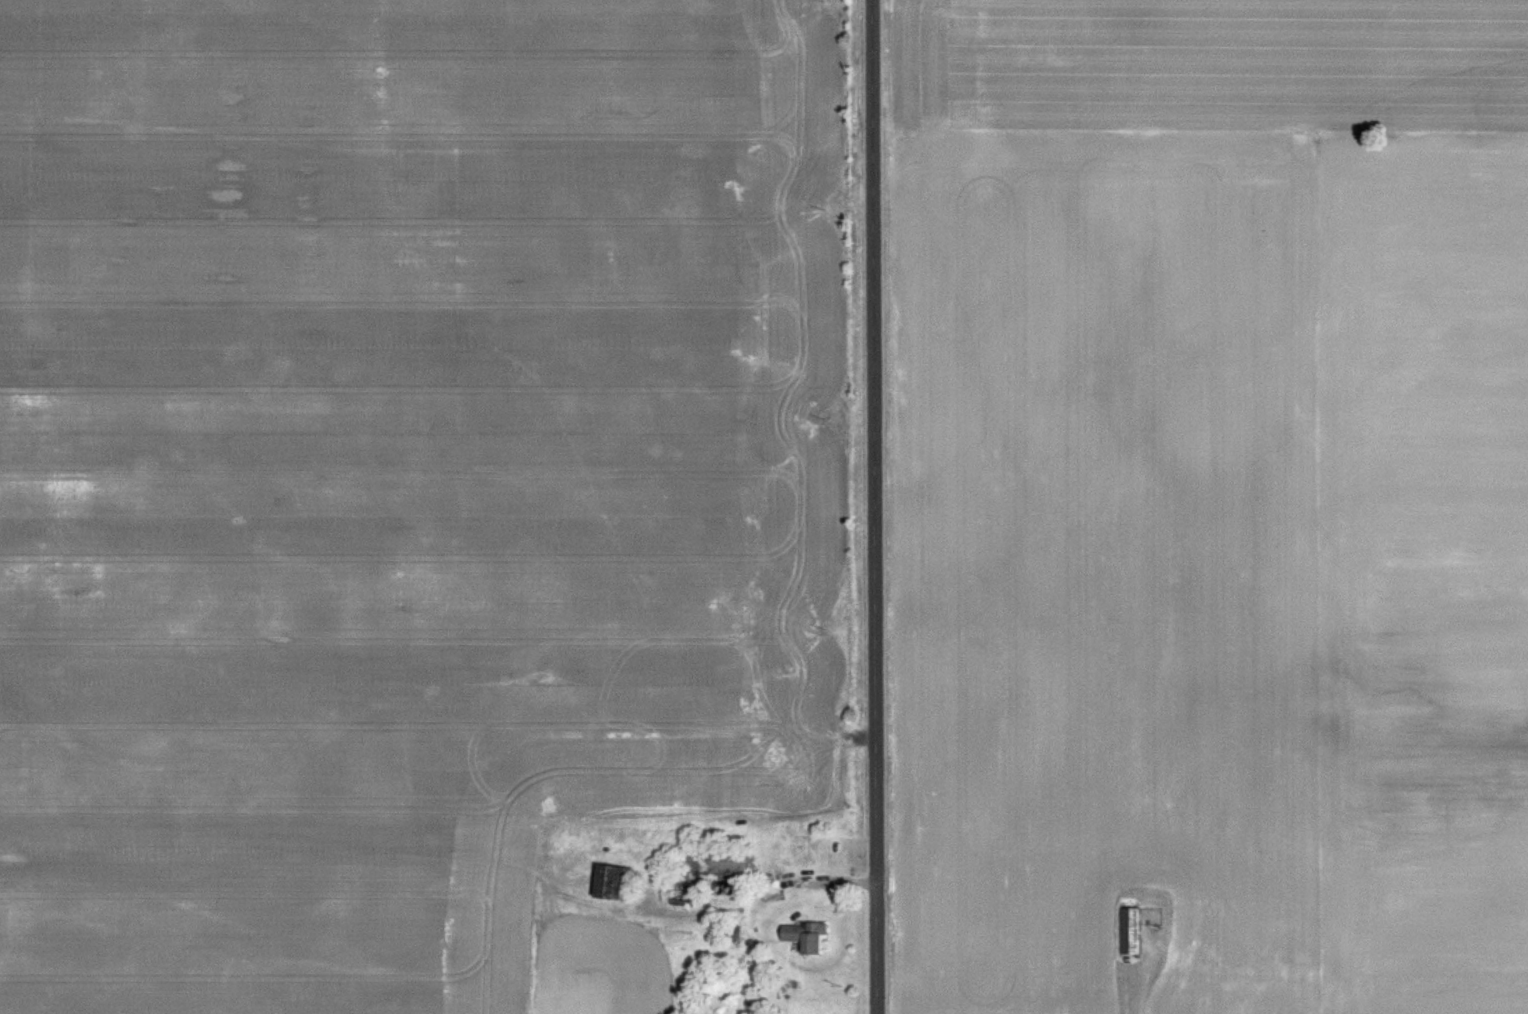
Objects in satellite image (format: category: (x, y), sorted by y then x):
road: (874, 507)
building: (696, 872)
building: (609, 885)
building: (1127, 933)
building: (801, 938)
building: (755, 1009)

